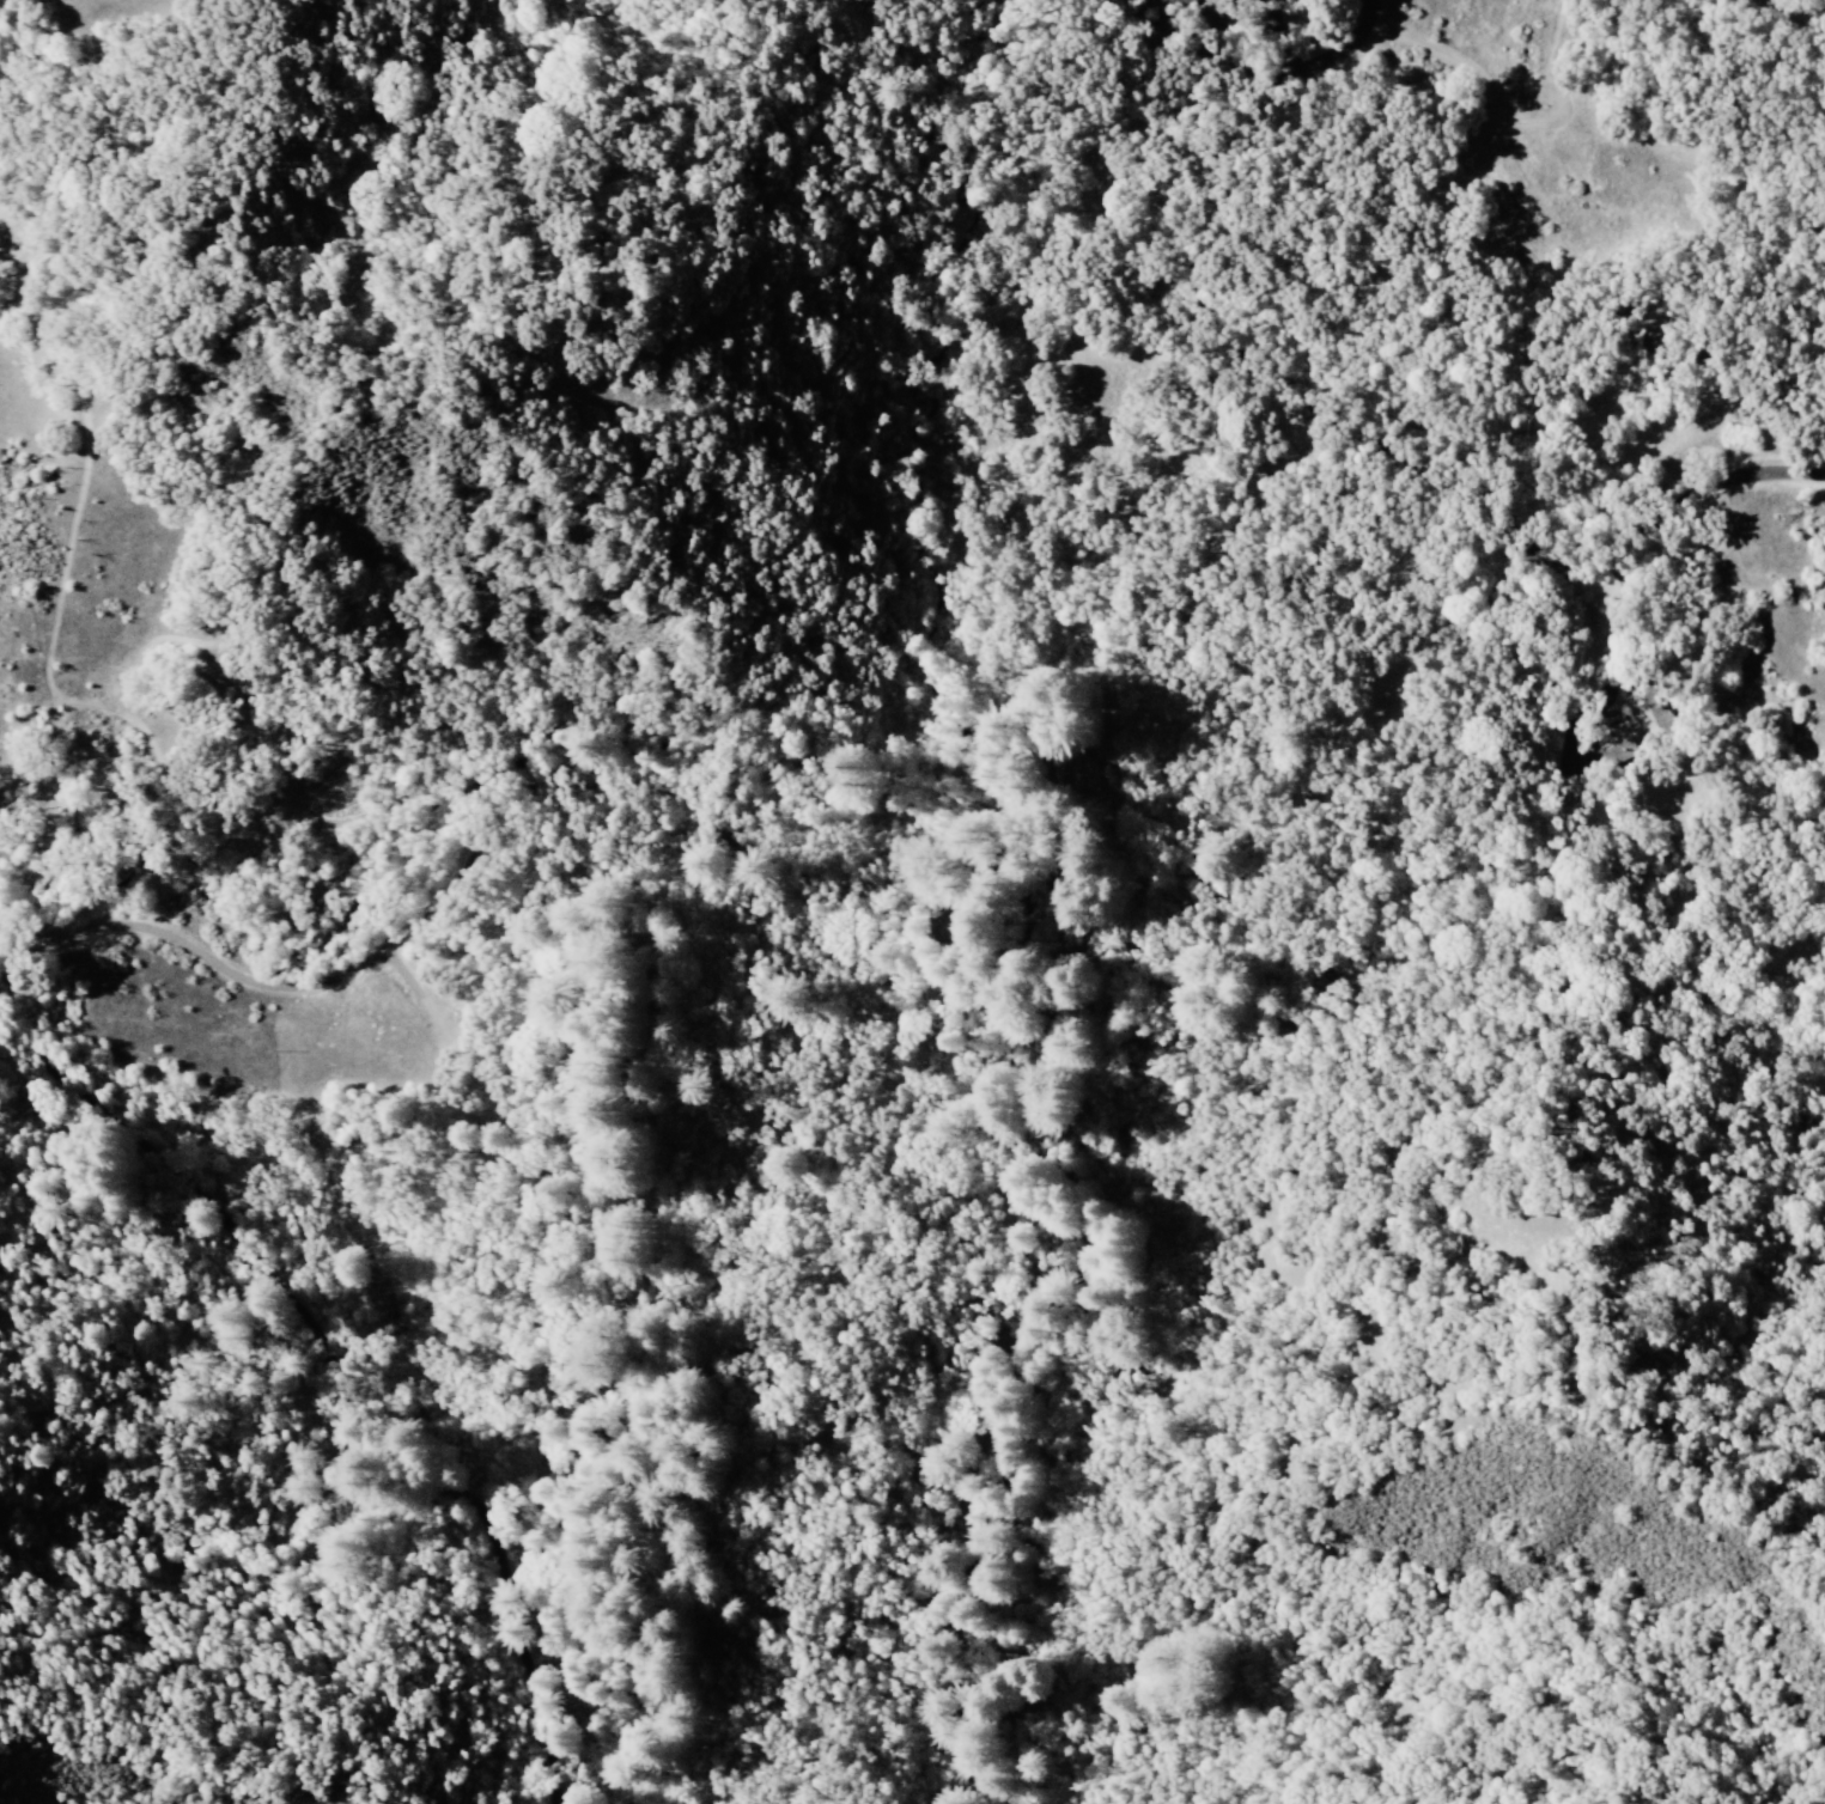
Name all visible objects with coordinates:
building: (1179, 2)
road: (1352, 418)
building: (1638, 725)
road: (342, 1386)

